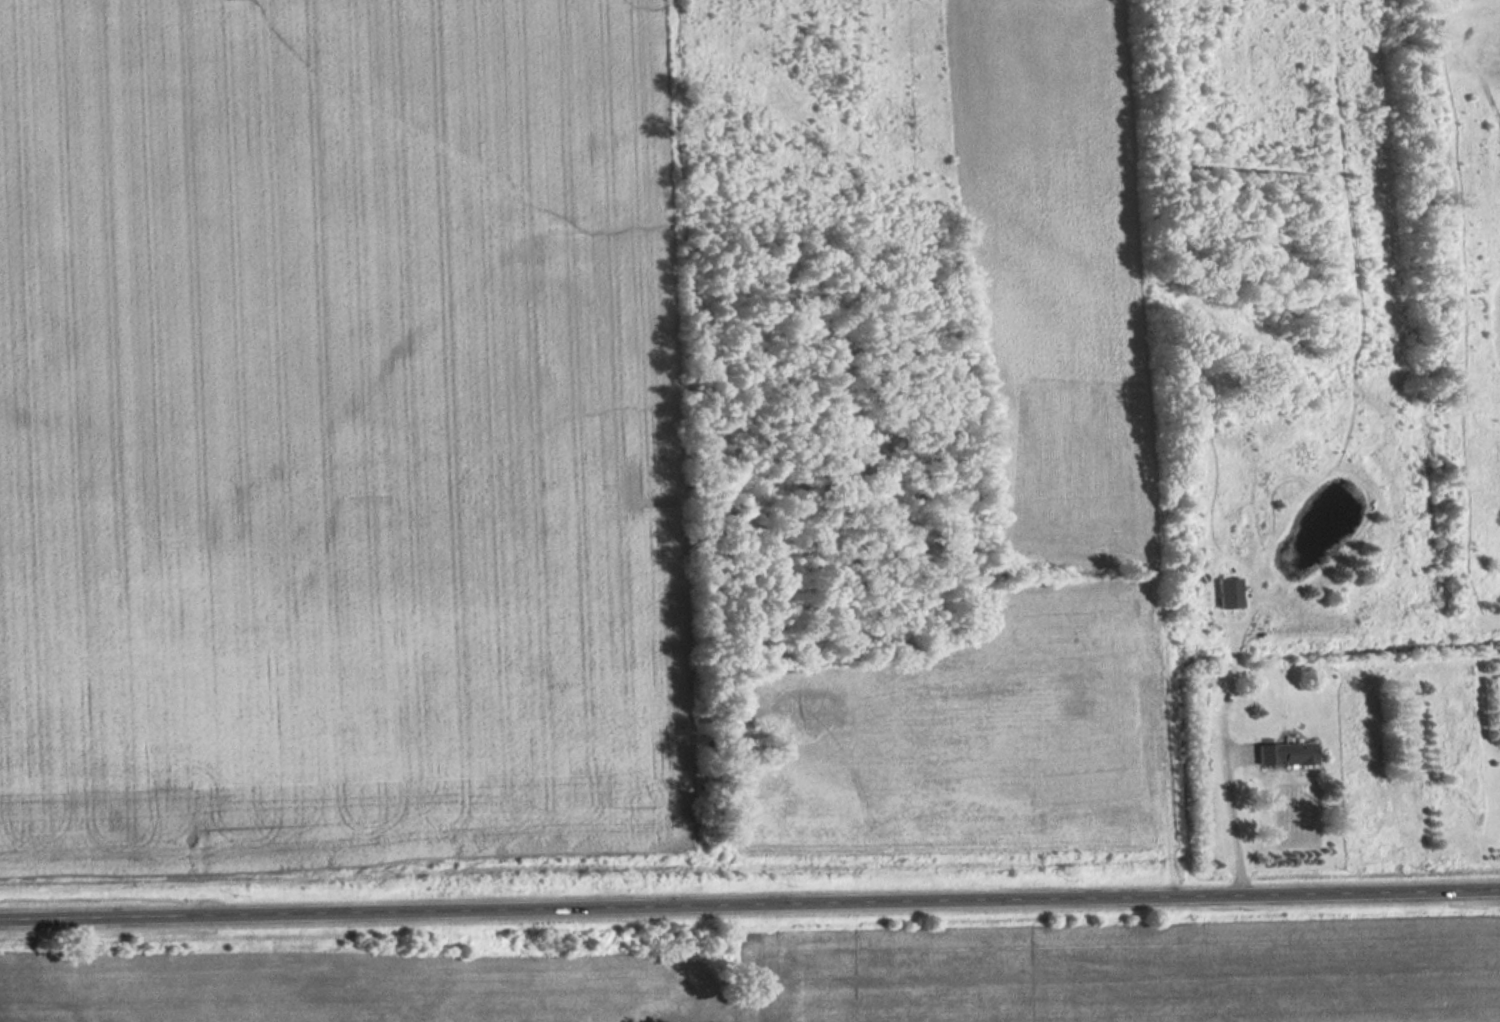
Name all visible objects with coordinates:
building: (1228, 593)
building: (1284, 753)
road: (749, 899)

